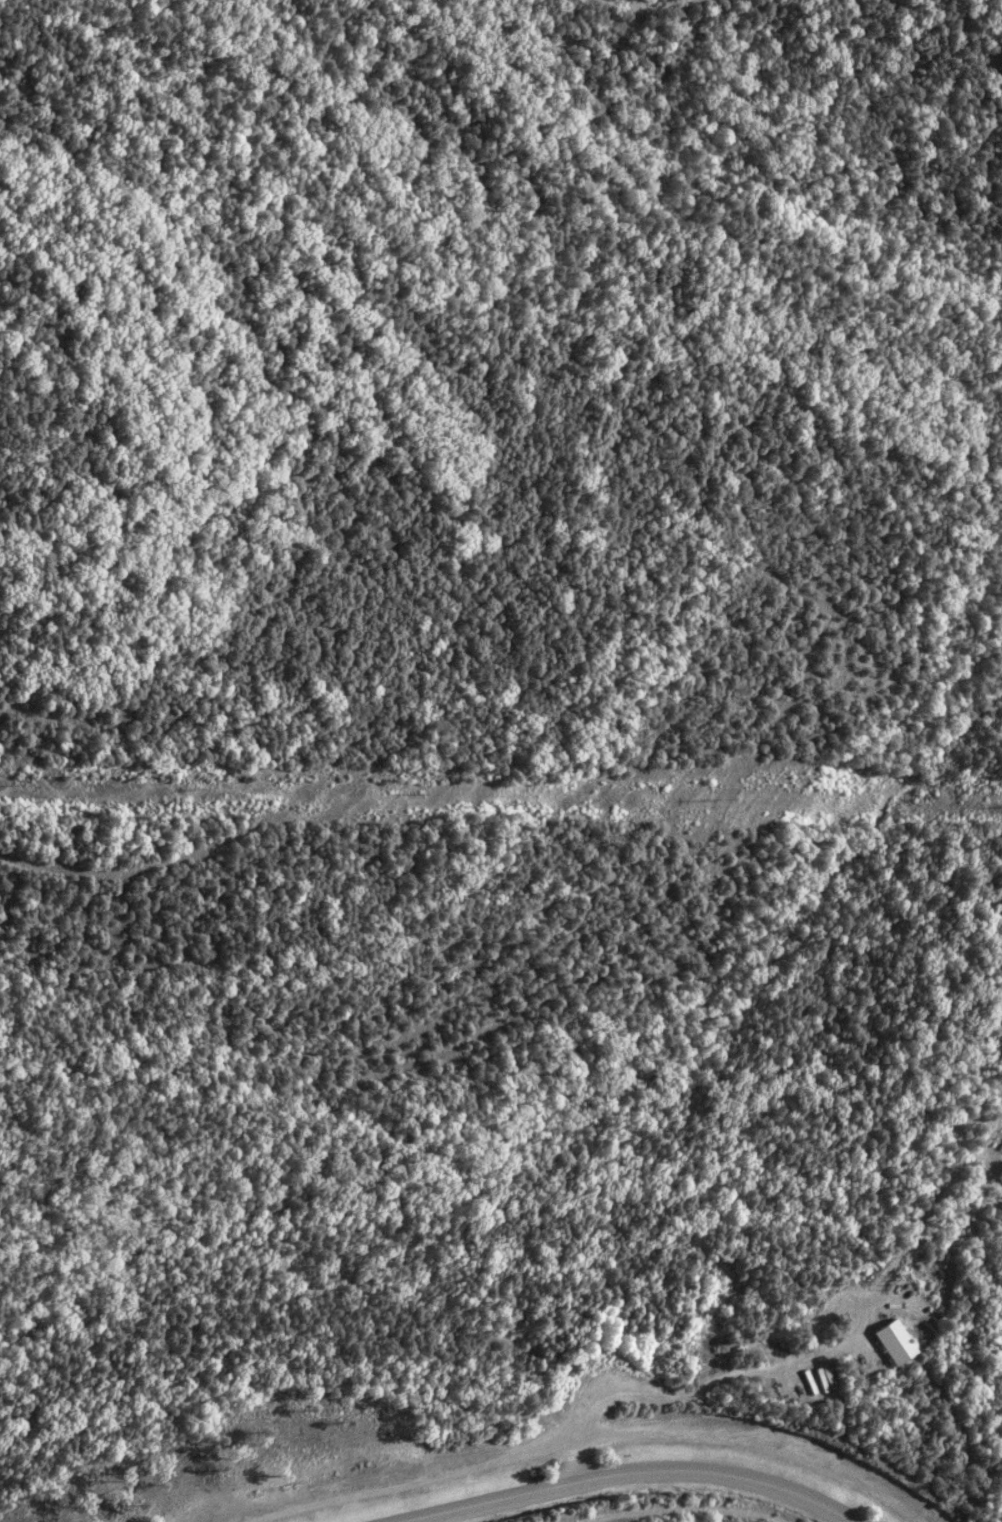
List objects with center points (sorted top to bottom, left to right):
building: (895, 1341)
road: (700, 1378)
road: (632, 1469)

